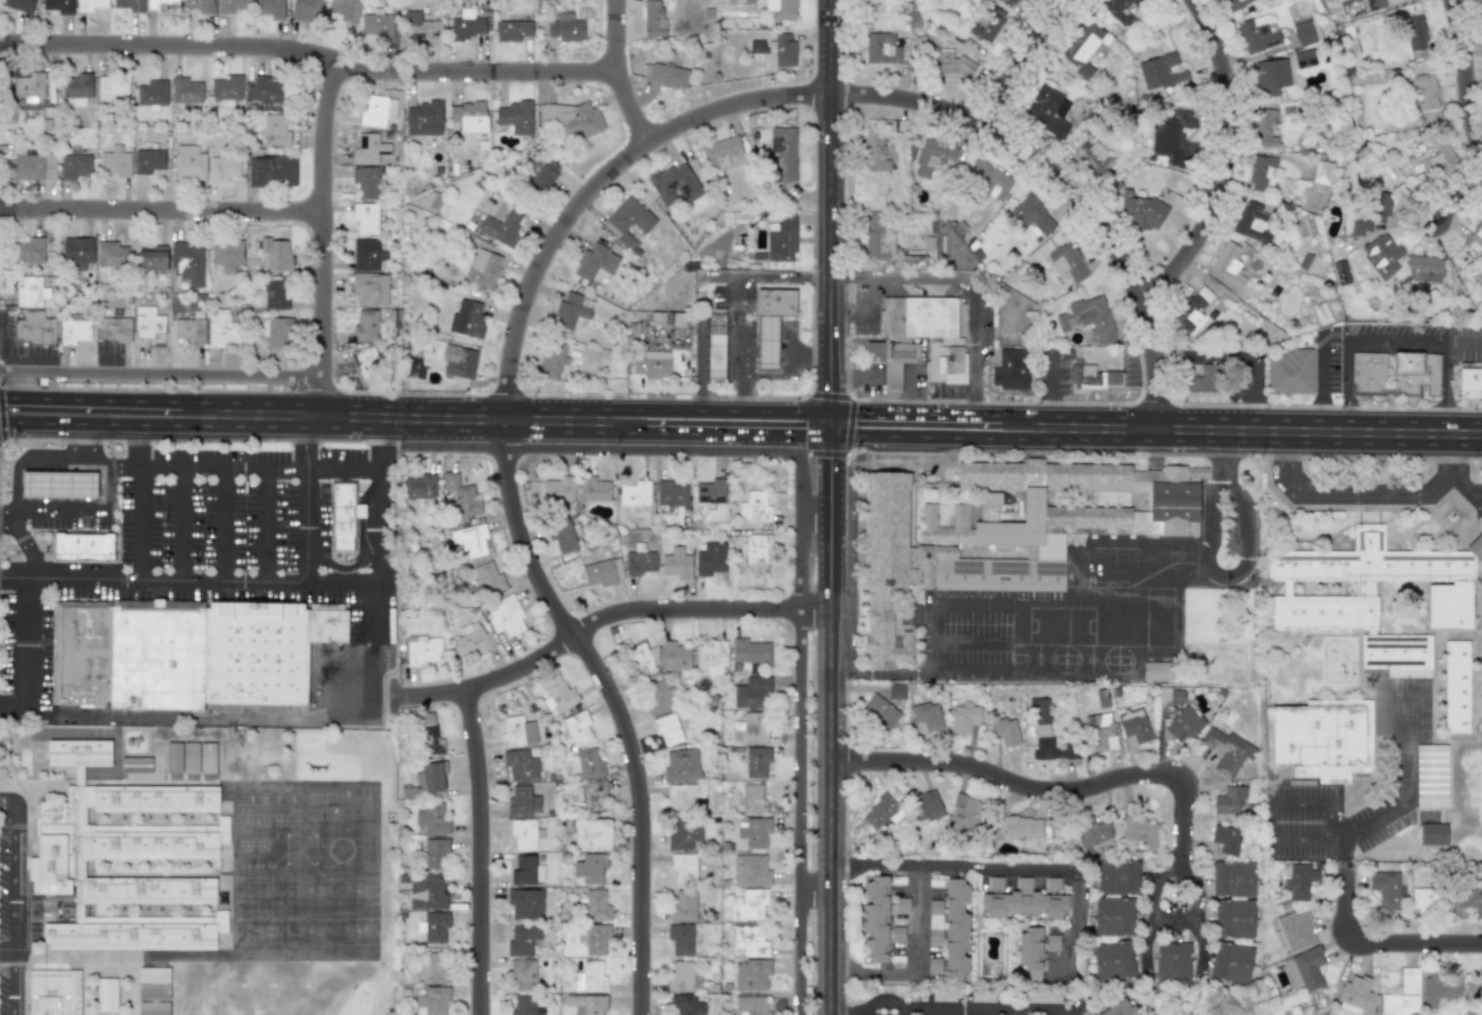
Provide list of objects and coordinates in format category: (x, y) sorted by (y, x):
building: (1014, 1)
building: (1481, 3)
building: (89, 4)
building: (161, 4)
building: (1235, 4)
building: (1374, 4)
building: (19, 5)
building: (57, 5)
building: (129, 5)
building: (199, 5)
building: (231, 5)
building: (269, 8)
building: (343, 9)
building: (781, 9)
building: (307, 10)
building: (1119, 10)
building: (584, 13)
building: (653, 18)
building: (376, 24)
building: (466, 25)
building: (988, 25)
building: (420, 26)
building: (566, 28)
building: (512, 30)
building: (1415, 31)
building: (1258, 33)
building: (1303, 33)
building: (1084, 47)
building: (882, 48)
building: (775, 51)
road: (314, 58)
building: (1304, 58)
road: (1027, 60)
road: (1473, 62)
building: (952, 63)
building: (1159, 70)
road: (627, 73)
building: (665, 74)
building: (1270, 76)
building: (77, 87)
building: (227, 87)
building: (112, 89)
building: (186, 90)
building: (152, 92)
building: (266, 92)
road: (836, 92)
building: (377, 110)
building: (1048, 111)
building: (469, 116)
building: (515, 116)
building: (424, 118)
building: (570, 118)
building: (31, 123)
building: (1264, 127)
building: (275, 130)
building: (1174, 137)
building: (369, 149)
building: (719, 150)
building: (875, 151)
building: (783, 152)
building: (933, 156)
building: (1094, 157)
building: (148, 160)
building: (116, 161)
road: (1232, 162)
building: (188, 163)
building: (74, 166)
building: (34, 167)
building: (222, 168)
building: (271, 171)
building: (1264, 172)
building: (1322, 172)
building: (545, 174)
road: (828, 177)
building: (365, 181)
building: (994, 182)
building: (675, 184)
building: (432, 198)
road: (1457, 201)
road: (160, 210)
building: (1140, 212)
building: (1370, 213)
building: (1032, 214)
building: (630, 215)
building: (365, 217)
building: (1252, 222)
building: (501, 228)
building: (1029, 231)
building: (1475, 237)
road: (321, 238)
building: (781, 238)
building: (877, 238)
building: (28, 250)
building: (77, 252)
building: (111, 254)
building: (367, 254)
building: (227, 255)
building: (1381, 255)
building: (278, 256)
building: (153, 258)
building: (595, 261)
building: (1066, 261)
building: (187, 262)
building: (1227, 263)
building: (1423, 268)
building: (483, 269)
building: (1341, 272)
road: (698, 280)
road: (968, 285)
building: (370, 288)
building: (31, 291)
building: (272, 296)
building: (775, 303)
building: (1191, 309)
building: (569, 311)
building: (1092, 314)
building: (918, 316)
building: (466, 320)
building: (147, 322)
building: (365, 326)
building: (34, 328)
building: (221, 328)
building: (114, 329)
building: (190, 329)
building: (75, 330)
building: (277, 331)
flagpole: (783, 340)
road: (1371, 340)
road: (741, 344)
building: (767, 344)
building: (715, 345)
road: (810, 353)
road: (1197, 355)
building: (890, 359)
building: (551, 360)
building: (365, 361)
building: (461, 363)
building: (946, 364)
building: (652, 365)
building: (1010, 369)
road: (161, 372)
building: (1290, 372)
building: (1394, 372)
road: (789, 375)
building: (1093, 377)
building: (1203, 379)
road: (829, 381)
building: (1470, 381)
road: (1446, 385)
road: (1245, 392)
road: (90, 400)
road: (201, 406)
road: (680, 408)
road: (785, 409)
traffic signals: (829, 409)
road: (920, 410)
road: (422, 414)
road: (829, 421)
road: (112, 424)
road: (634, 424)
road: (1245, 427)
road: (737, 431)
traffic signals: (829, 433)
road: (920, 434)
road: (307, 437)
road: (384, 437)
road: (630, 450)
road: (1451, 451)
road: (1223, 452)
road: (1283, 455)
road: (25, 458)
road: (141, 459)
road: (166, 461)
road: (346, 461)
road: (829, 472)
building: (59, 485)
building: (420, 486)
road: (1233, 487)
road: (1466, 487)
building: (559, 489)
building: (594, 489)
building: (711, 491)
building: (635, 493)
building: (671, 494)
building: (461, 495)
road: (1371, 496)
building: (990, 506)
building: (754, 507)
road: (814, 510)
road: (7, 511)
road: (79, 511)
building: (342, 517)
road: (183, 519)
road: (1209, 519)
road: (220, 520)
road: (264, 520)
road: (312, 520)
building: (1010, 531)
road: (1243, 532)
building: (562, 536)
building: (473, 539)
building: (85, 548)
building: (756, 549)
building: (711, 559)
road: (800, 560)
building: (640, 562)
building: (677, 564)
building: (603, 572)
road: (1218, 572)
road: (1235, 572)
road: (15, 576)
road: (204, 578)
building: (487, 579)
building: (1373, 583)
road: (969, 602)
road: (608, 614)
building: (505, 615)
building: (328, 625)
road: (933, 638)
road: (969, 638)
building: (470, 641)
road: (24, 649)
building: (422, 650)
building: (1396, 651)
building: (255, 652)
building: (750, 652)
building: (83, 657)
building: (674, 657)
building: (157, 658)
building: (639, 658)
building: (711, 658)
road: (968, 666)
building: (1157, 671)
road: (839, 673)
road: (891, 673)
building: (1457, 687)
building: (896, 691)
building: (753, 693)
building: (559, 694)
building: (658, 697)
building: (1101, 698)
road: (11, 701)
road: (614, 702)
road: (375, 707)
building: (1039, 710)
building: (880, 711)
road: (79, 714)
building: (927, 717)
building: (965, 717)
building: (1184, 723)
building: (1134, 725)
building: (578, 728)
building: (751, 728)
building: (668, 729)
building: (1005, 731)
building: (518, 732)
building: (1099, 732)
building: (429, 734)
building: (1318, 736)
building: (1055, 749)
building: (1227, 750)
building: (173, 758)
building: (190, 758)
building: (207, 758)
building: (757, 761)
road: (829, 763)
building: (587, 764)
building: (136, 765)
building: (521, 765)
building: (681, 765)
building: (432, 776)
building: (1432, 776)
road: (1076, 793)
building: (684, 795)
building: (592, 796)
building: (753, 799)
building: (1229, 801)
building: (523, 802)
building: (927, 805)
road: (1317, 806)
building: (881, 809)
road: (801, 813)
building: (964, 815)
building: (433, 818)
building: (1023, 828)
road: (1306, 831)
building: (755, 832)
building: (1093, 832)
building: (1141, 833)
building: (525, 834)
building: (592, 834)
building: (684, 834)
building: (1433, 834)
building: (1226, 839)
building: (128, 841)
road: (490, 849)
building: (436, 853)
road: (1346, 853)
building: (591, 868)
building: (684, 868)
building: (527, 870)
building: (751, 870)
road: (1011, 874)
building: (1118, 877)
building: (1233, 878)
building: (1301, 881)
building: (995, 884)
building: (1052, 884)
road: (815, 886)
building: (1385, 889)
building: (426, 892)
building: (1424, 899)
building: (1468, 901)
road: (13, 902)
building: (1023, 902)
building: (526, 903)
building: (750, 905)
building: (597, 906)
building: (684, 906)
building: (1114, 916)
building: (1234, 918)
building: (876, 920)
building: (434, 926)
building: (956, 930)
building: (1296, 931)
building: (596, 939)
building: (681, 939)
building: (523, 940)
building: (750, 940)
building: (1051, 943)
building: (1030, 952)
building: (1113, 960)
building: (1173, 962)
building: (1231, 962)
building: (433, 968)
building: (1305, 969)
road: (926, 971)
building: (153, 975)
building: (523, 975)
building: (752, 975)
building: (591, 977)
building: (683, 977)
building: (1440, 988)
building: (1474, 990)
building: (54, 992)
building: (153, 992)
building: (107, 994)
building: (1403, 995)
building: (1357, 997)
building: (1043, 998)
park: (1198, 999)
building: (433, 1001)
road: (887, 1003)
building: (587, 1004)
building: (524, 1005)
building: (686, 1005)
building: (751, 1005)
building: (153, 1008)
building: (1118, 1008)
road: (988, 1013)

